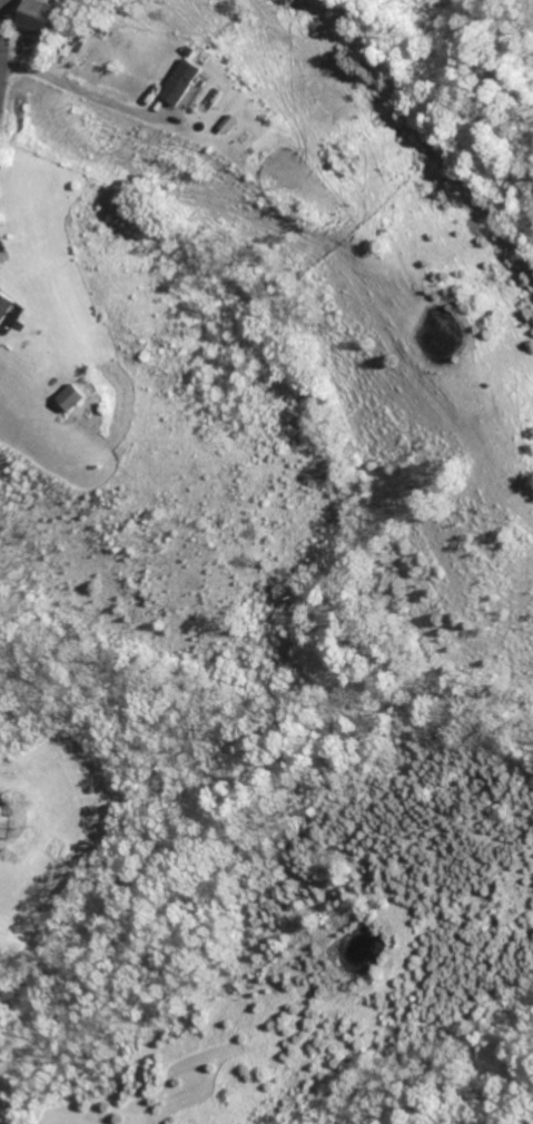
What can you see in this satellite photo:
building: (45, 17)
road: (4, 51)
building: (185, 82)
road: (79, 89)
building: (9, 312)
building: (76, 397)

